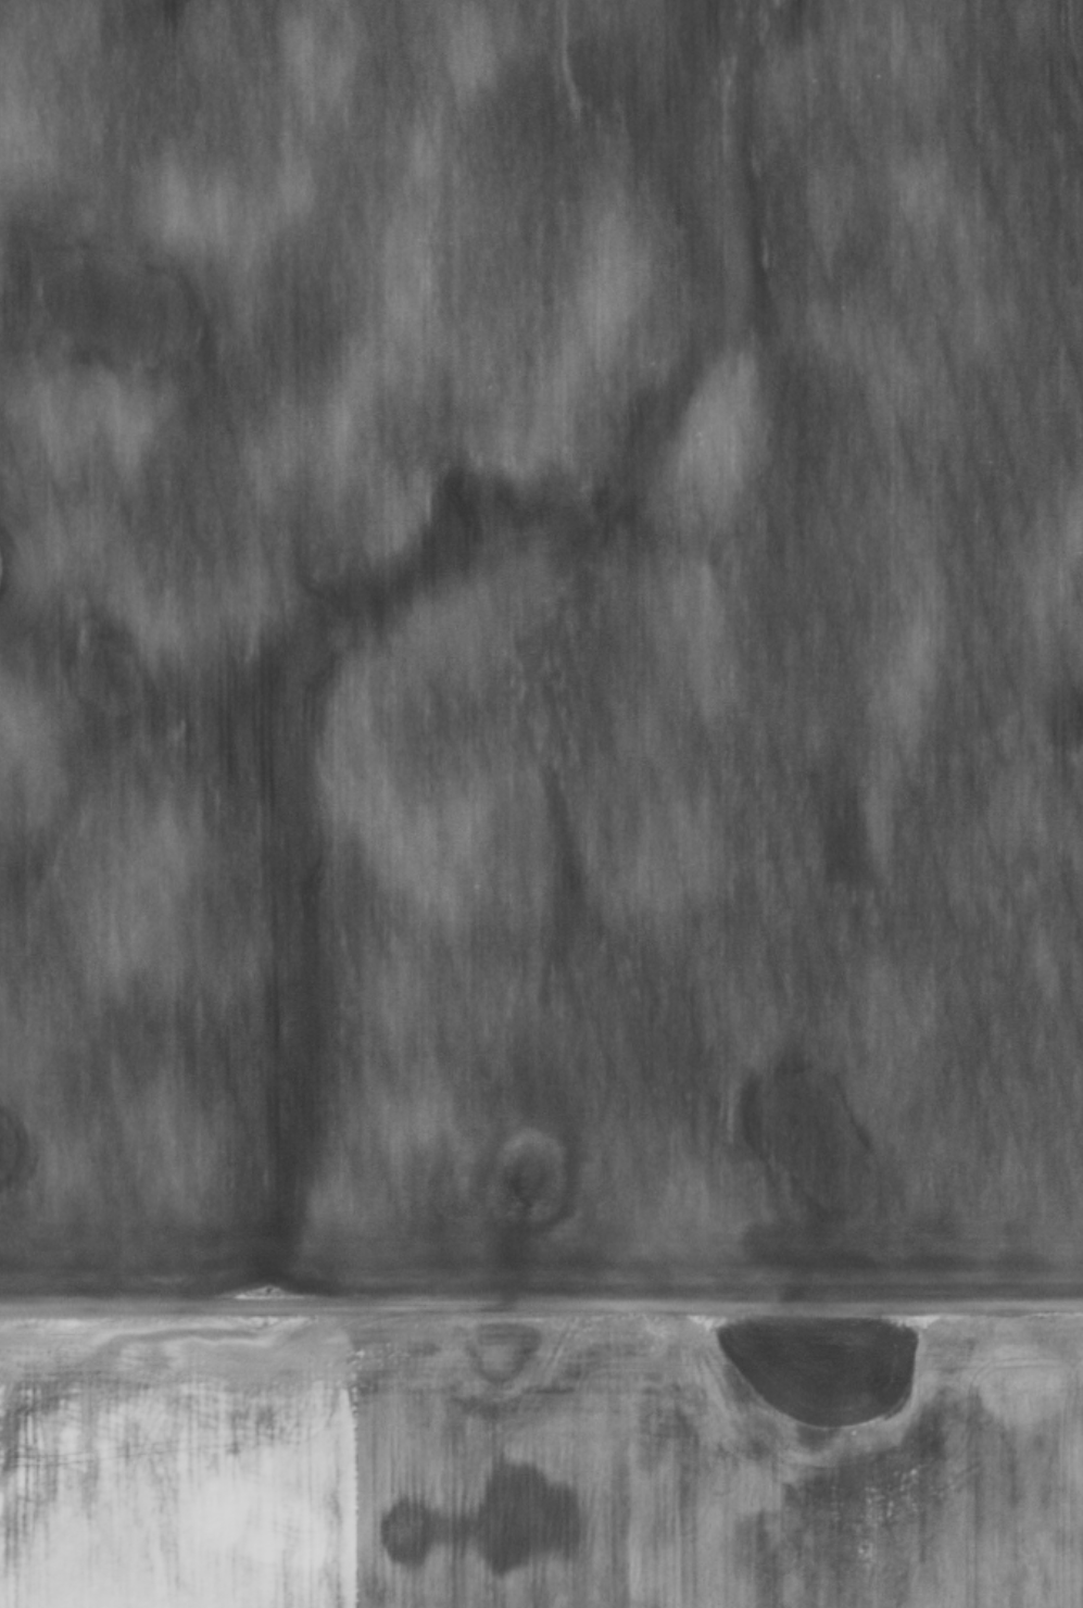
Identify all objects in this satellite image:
road: (541, 1298)

